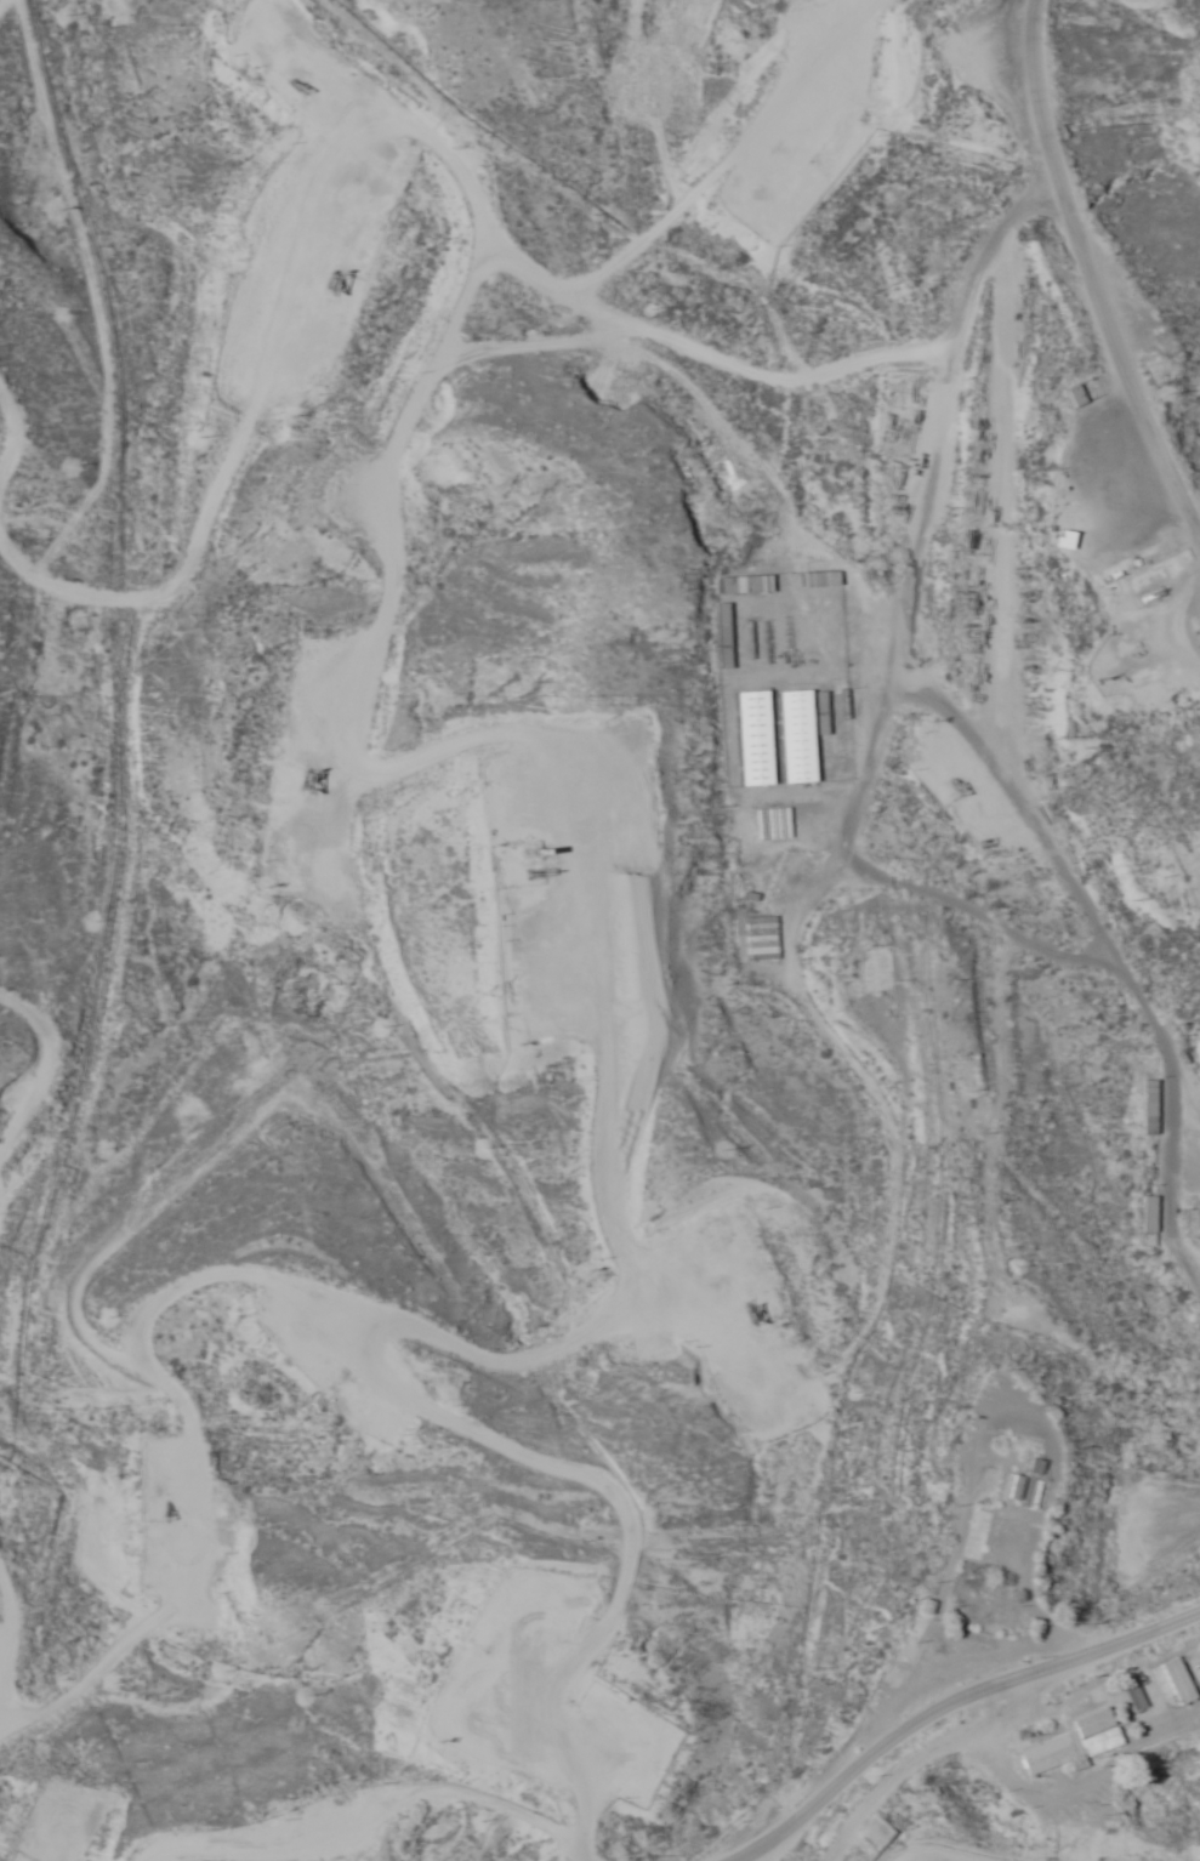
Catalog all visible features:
road: (773, 187)
road: (1091, 268)
building: (1145, 340)
road: (359, 345)
building: (1068, 395)
building: (1054, 539)
building: (813, 579)
building: (741, 585)
building: (789, 736)
building: (747, 739)
road: (1063, 812)
building: (760, 938)
building: (1142, 1108)
road: (13, 1111)
building: (1144, 1214)
road: (545, 1327)
building: (1010, 1444)
building: (983, 1489)
building: (972, 1536)
road: (561, 1614)
building: (897, 1664)
building: (1175, 1681)
building: (1151, 1688)
building: (1134, 1698)
road: (951, 1708)
building: (1070, 1745)
road: (1, 1793)
road: (848, 1825)
road: (438, 1851)

